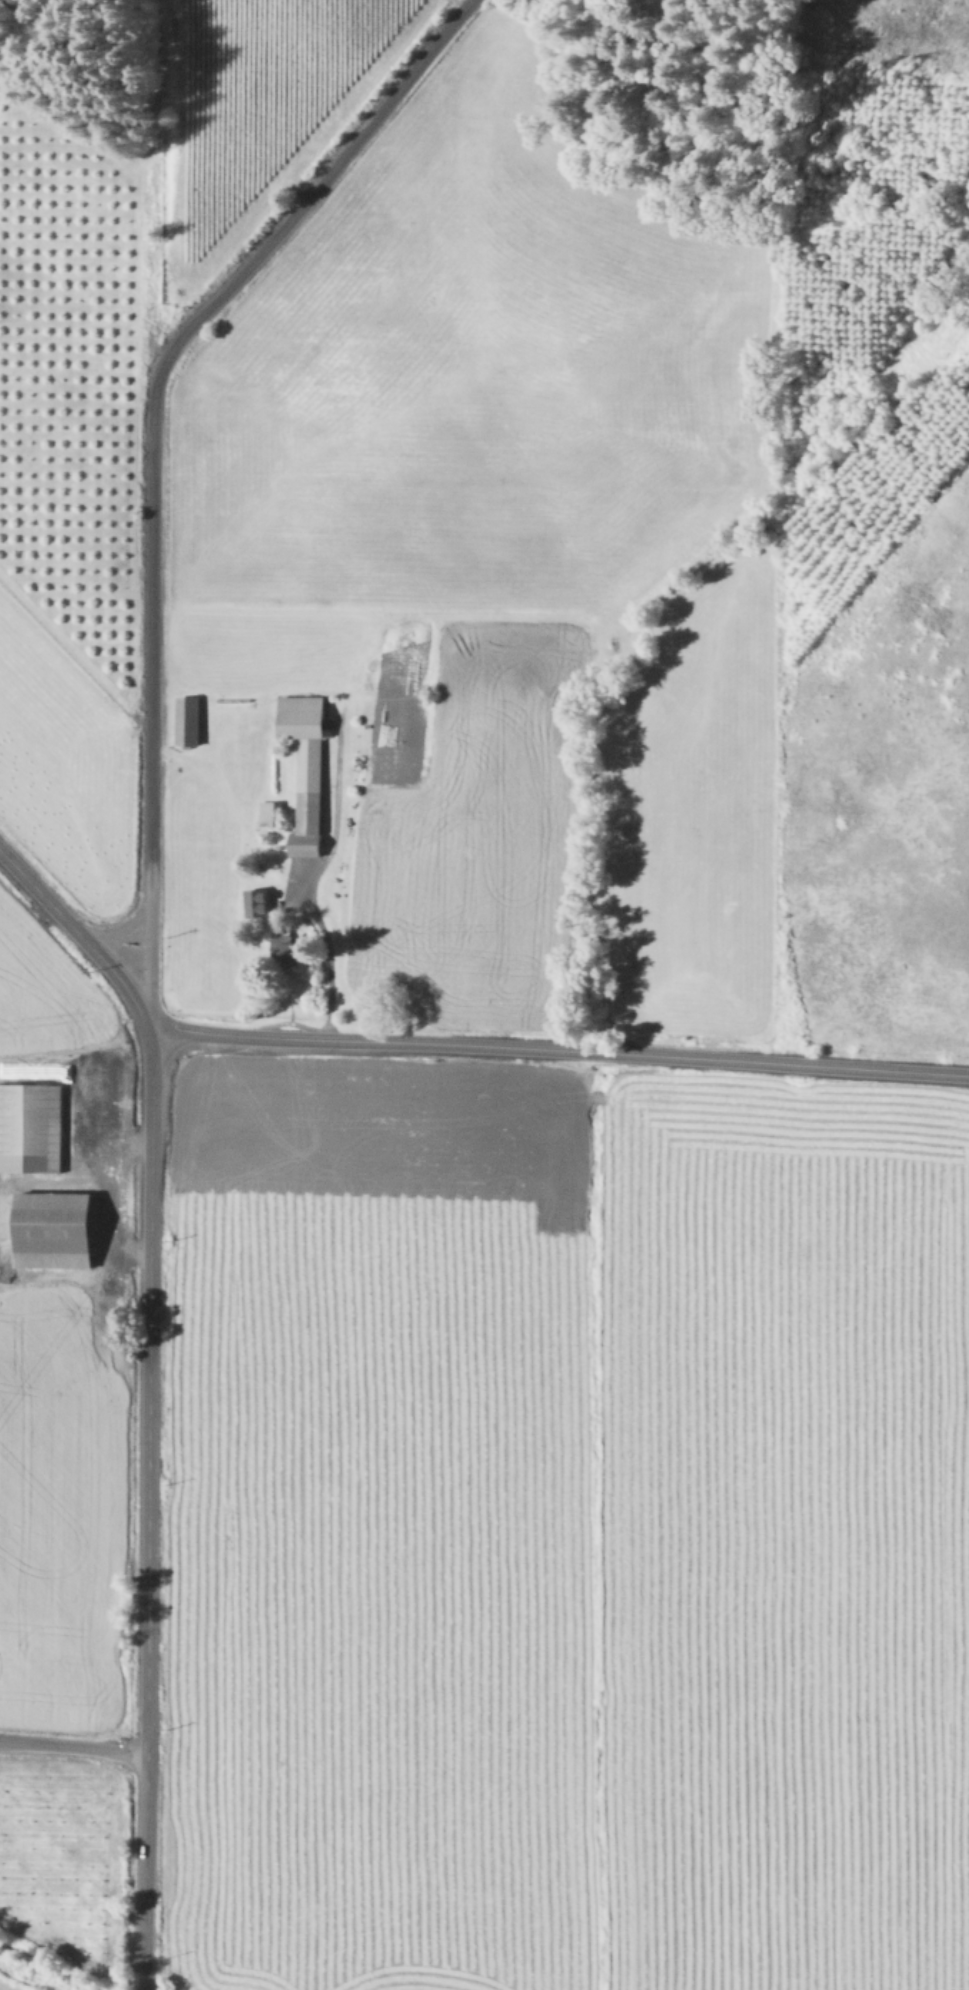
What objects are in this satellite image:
road: (151, 450)
crop: (566, 620)
building: (189, 719)
crop: (62, 755)
building: (306, 767)
building: (267, 812)
building: (258, 901)
road: (74, 930)
road: (117, 930)
building: (290, 949)
road: (328, 960)
road: (553, 1049)
building: (31, 1126)
building: (55, 1229)
road: (146, 1502)
crop: (474, 1524)
road: (72, 1744)

